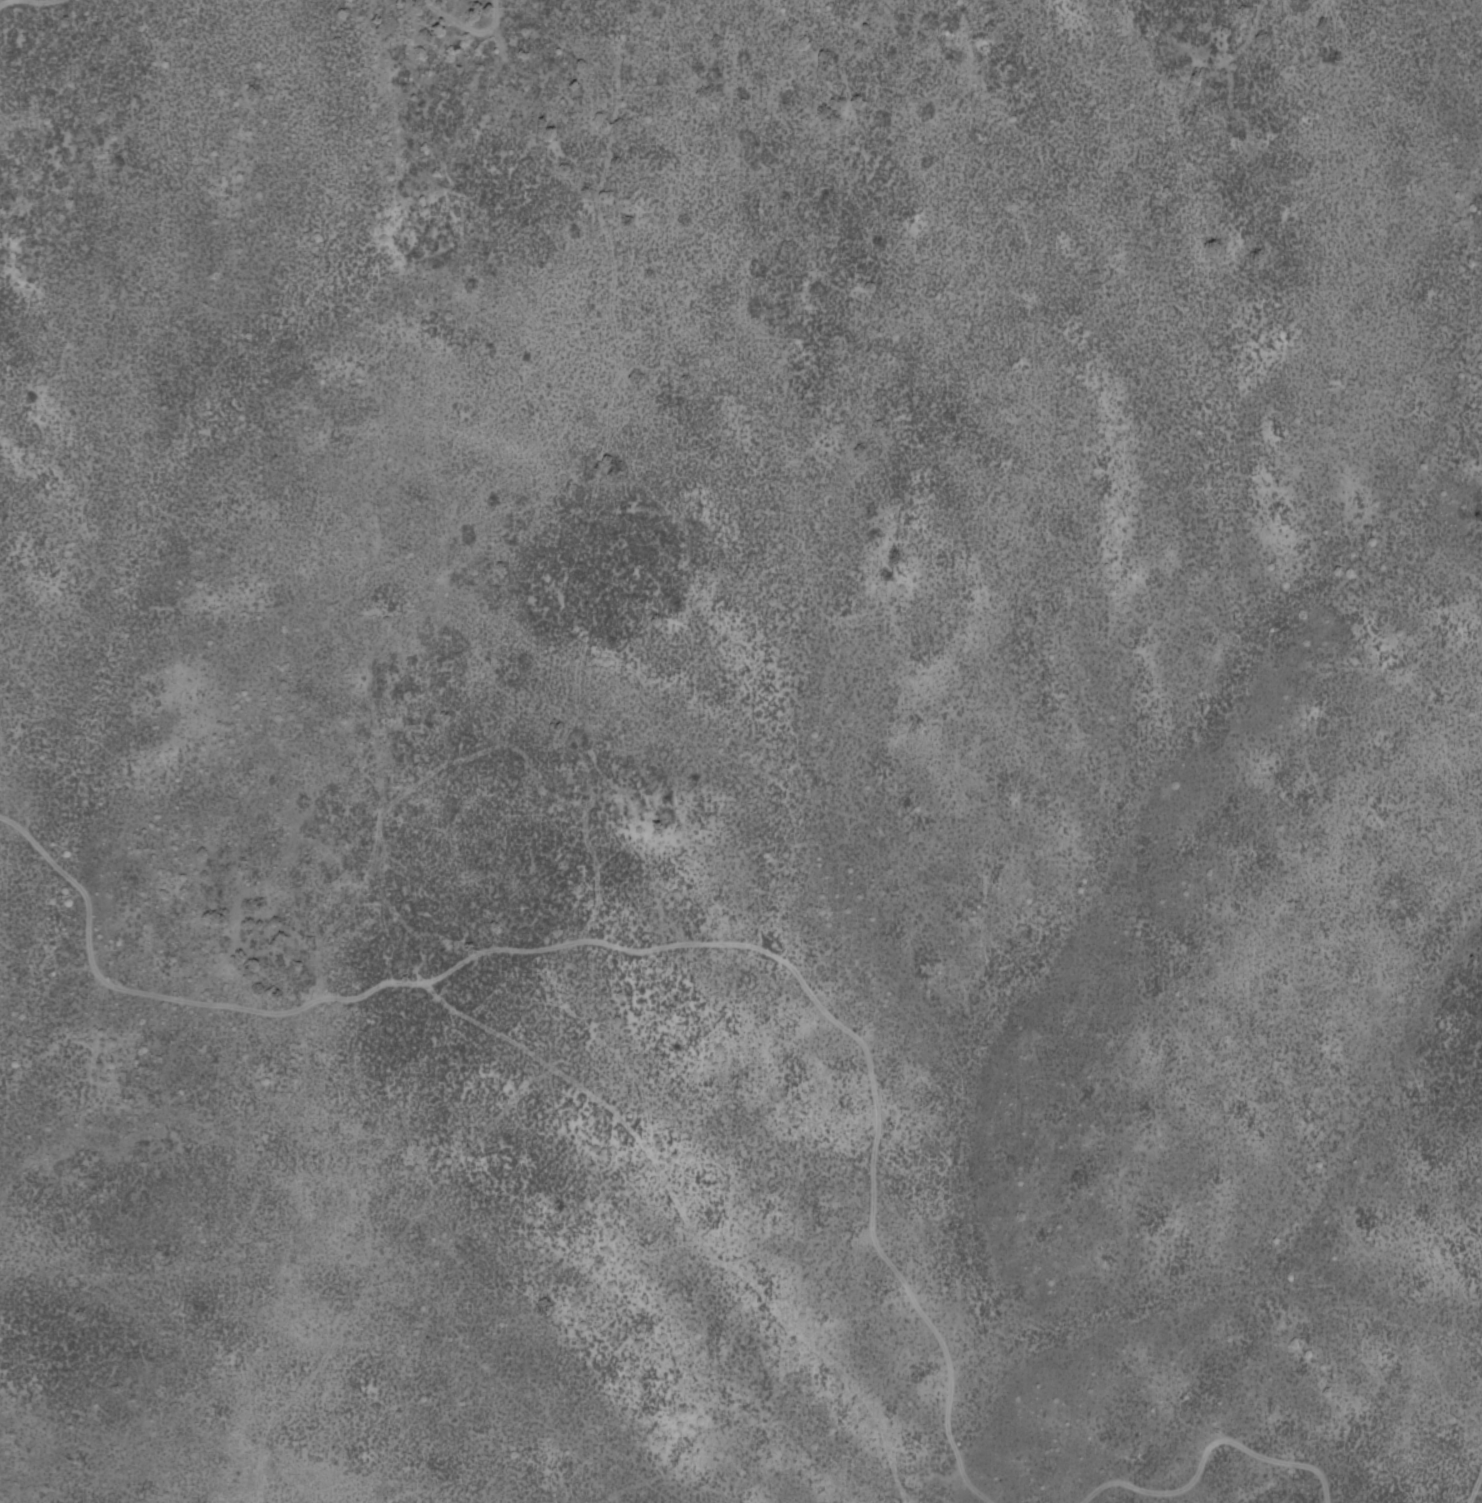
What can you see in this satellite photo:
road: (14, 23)

